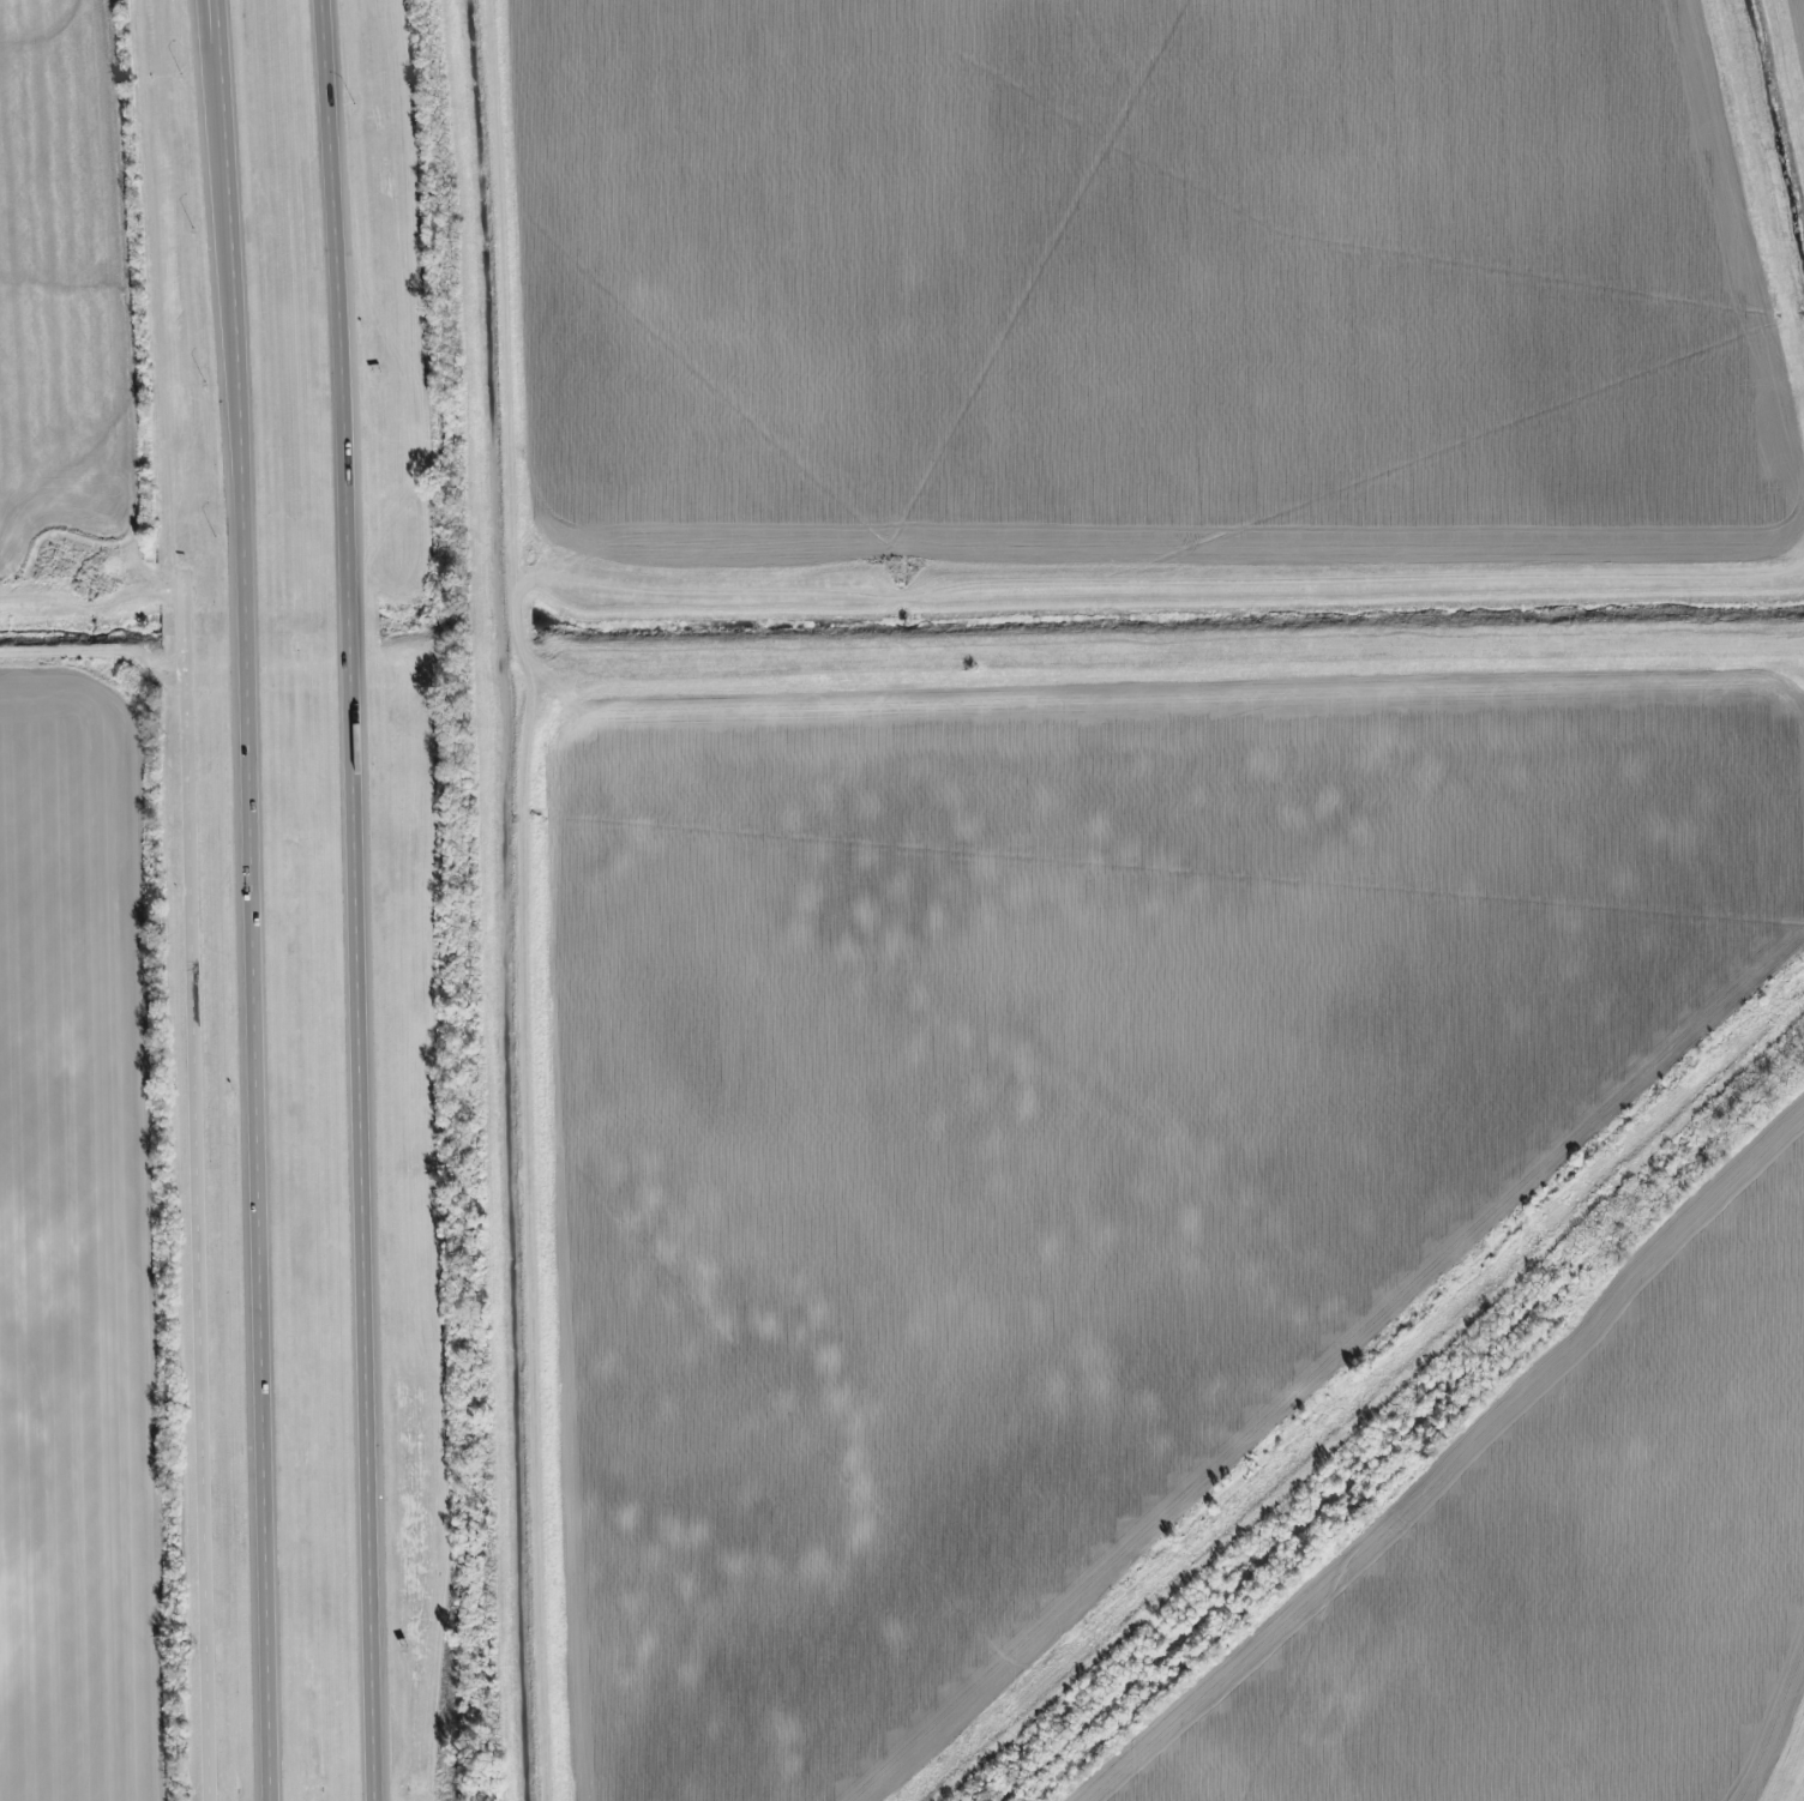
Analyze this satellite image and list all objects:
road: (254, 899)
road: (363, 899)
road: (200, 1188)
river: (1799, 1790)

